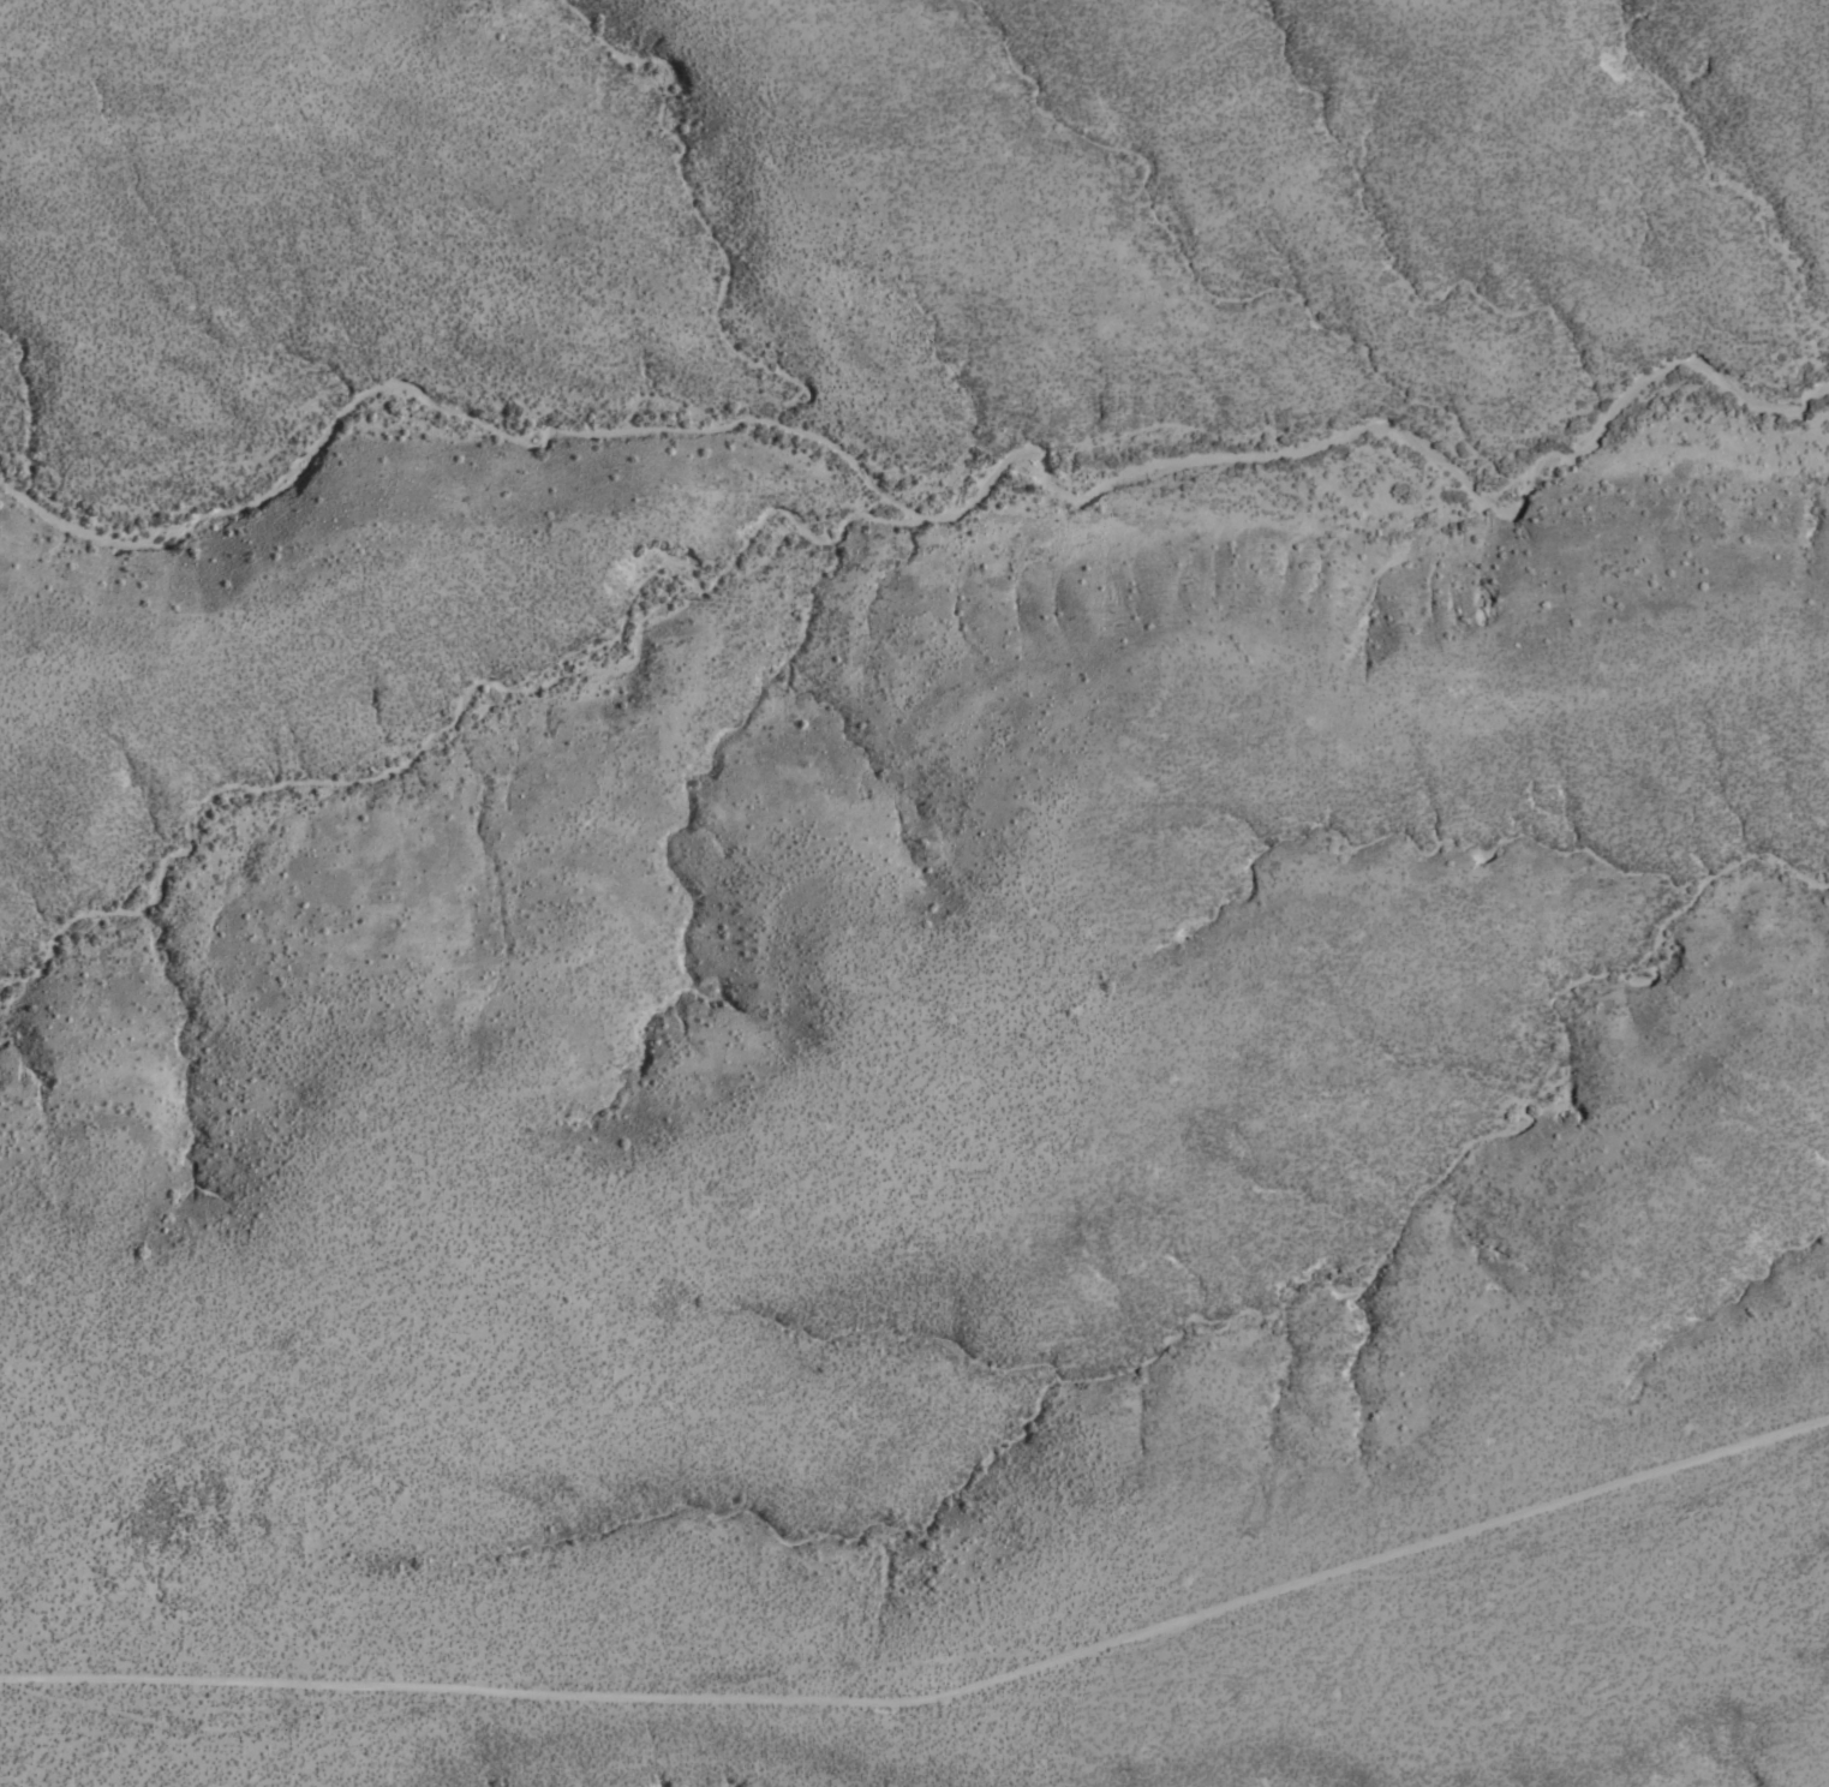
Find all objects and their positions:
road: (936, 1698)

